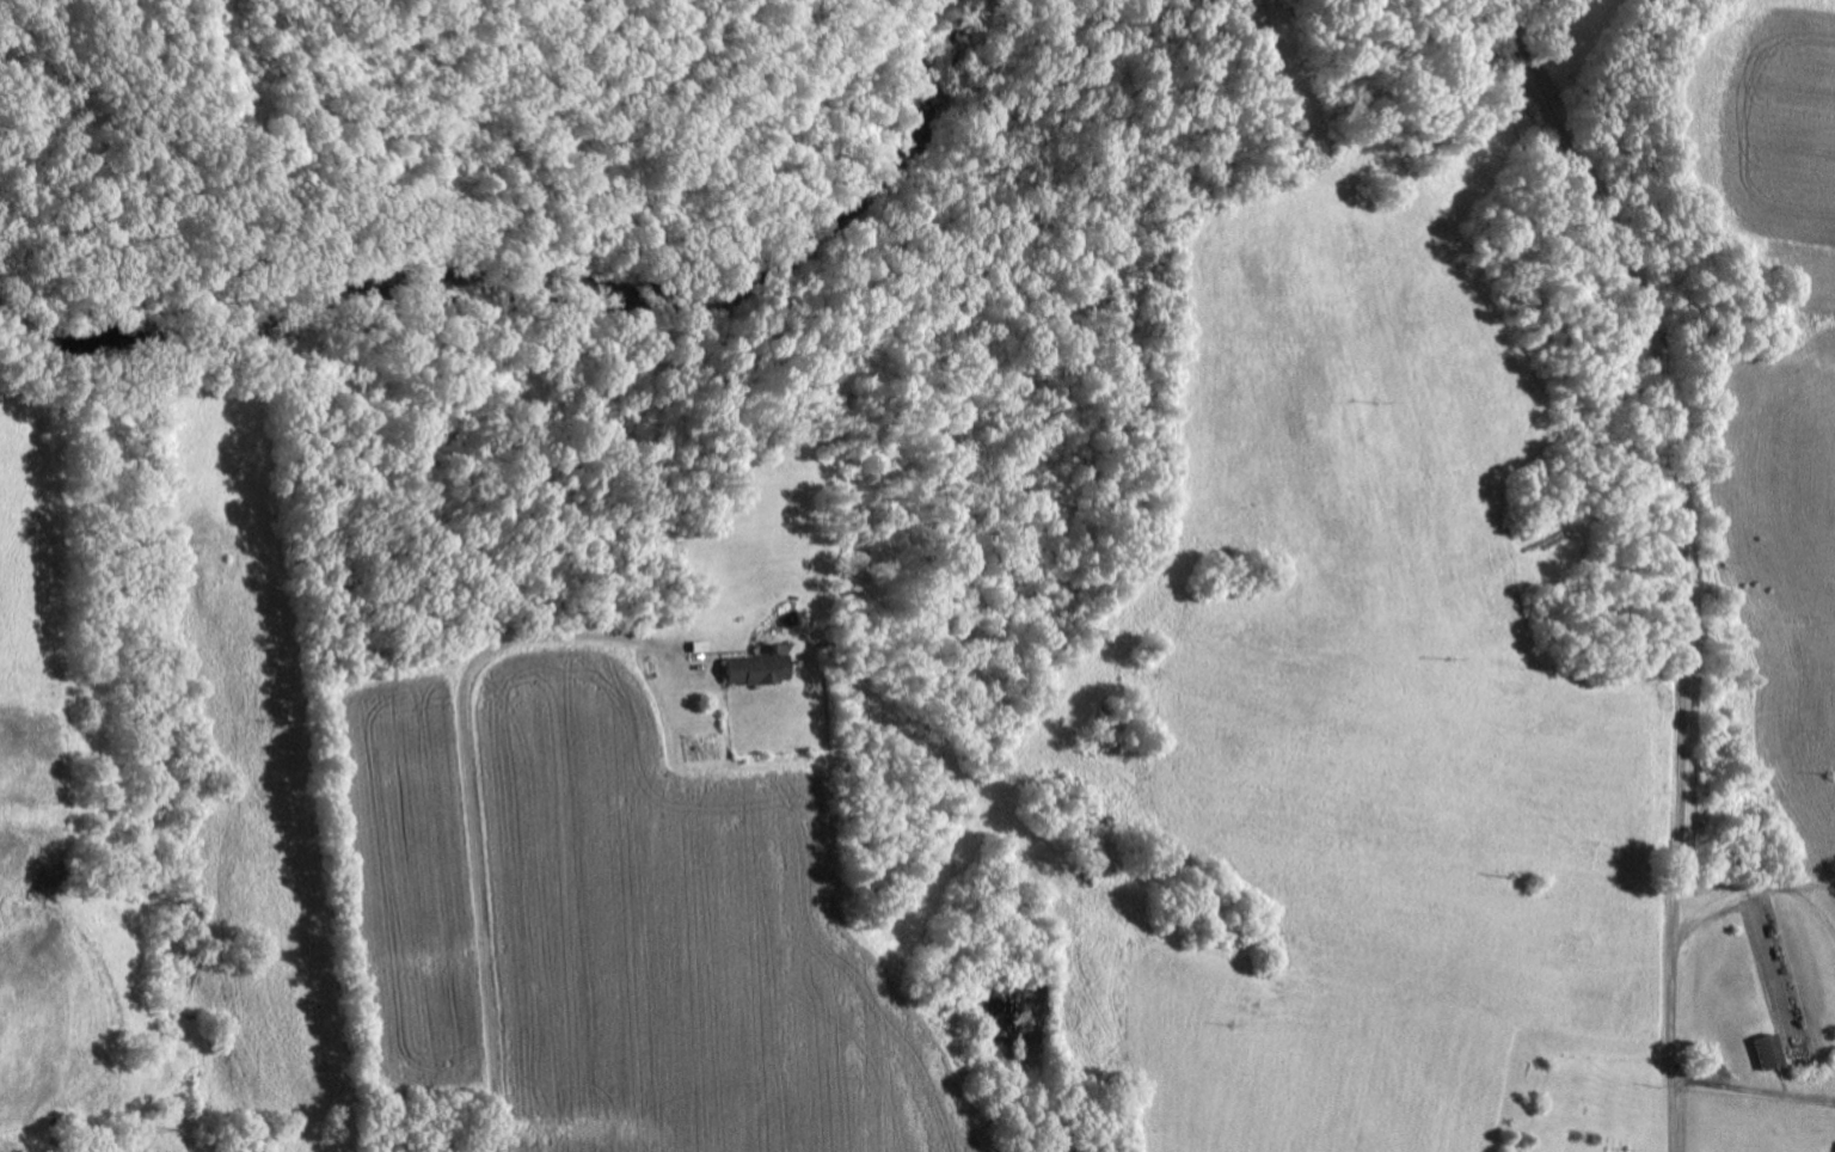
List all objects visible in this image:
road: (1686, 558)
building: (755, 664)
road: (471, 799)
road: (1756, 888)
road: (1812, 909)
building: (1765, 1049)
road: (1754, 1091)

